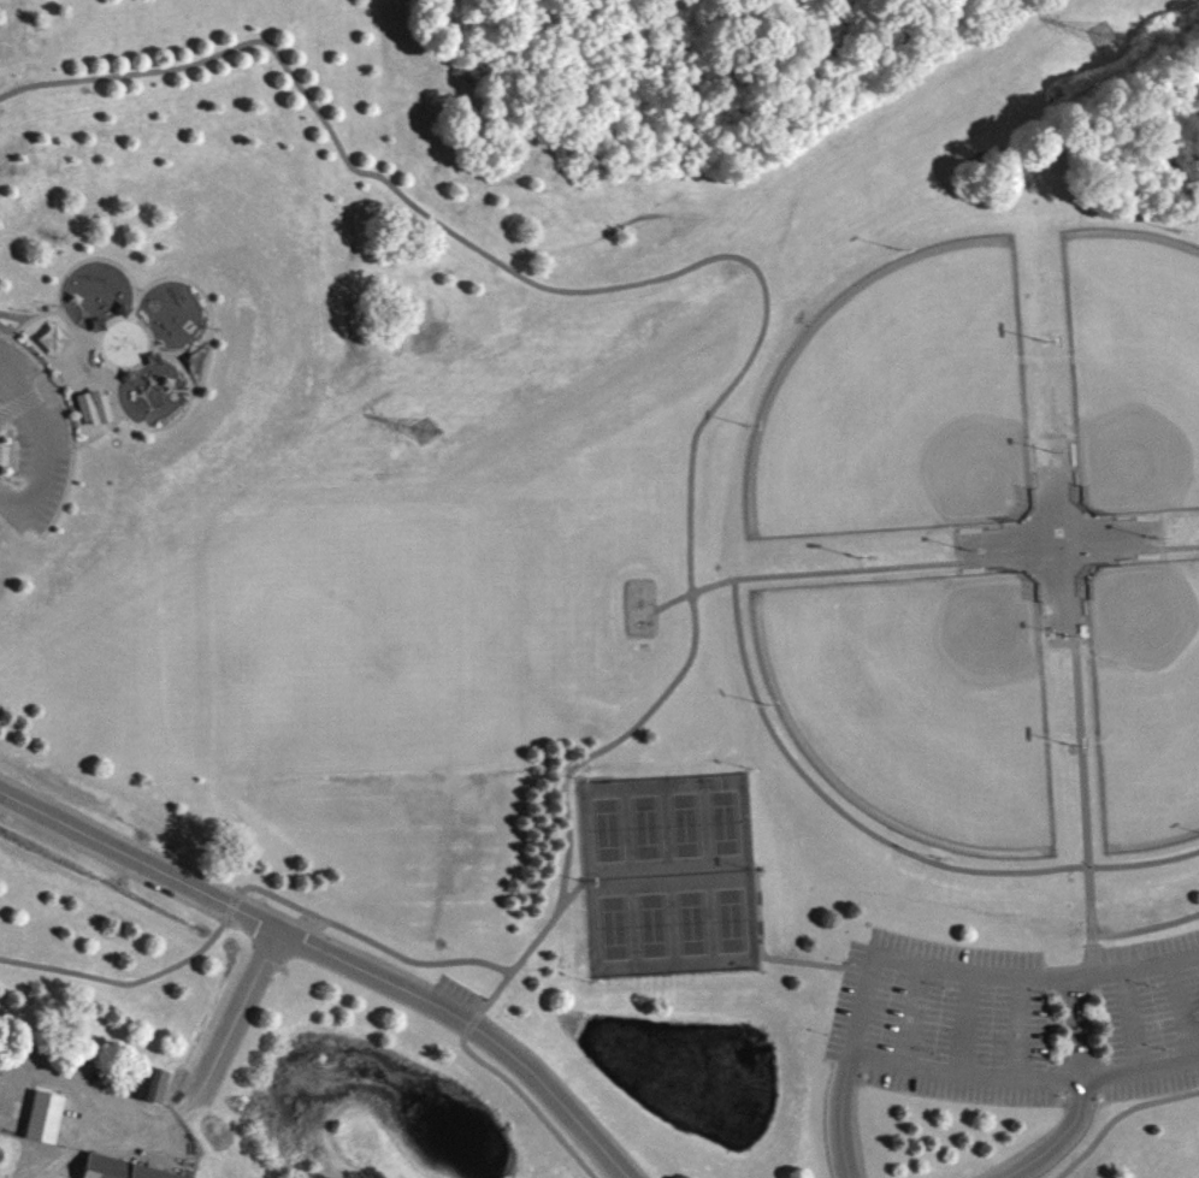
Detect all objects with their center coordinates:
power tower: (1098, 39)
road: (685, 271)
road: (16, 313)
road: (0, 333)
park: (1134, 371)
building: (93, 407)
park: (900, 407)
road: (67, 425)
power tower: (423, 431)
parking lot: (33, 444)
road: (922, 567)
park: (599, 588)
park: (922, 700)
park: (1146, 700)
road: (1081, 765)
park: (723, 824)
park: (685, 825)
park: (646, 829)
park: (608, 831)
road: (887, 842)
road: (230, 905)
park: (731, 922)
park: (691, 924)
park: (652, 927)
park: (613, 929)
road: (1146, 929)
road: (368, 940)
road: (331, 957)
road: (124, 982)
road: (860, 1012)
road: (1181, 1012)
road: (905, 1013)
road: (1129, 1019)
parking lot: (1021, 1022)
road: (963, 1024)
road: (1016, 1028)
road: (1071, 1028)
road: (461, 1038)
building: (152, 1085)
road: (195, 1097)
road: (843, 1115)
road: (1116, 1115)
building: (42, 1117)
road: (1062, 1137)
building: (117, 1170)

